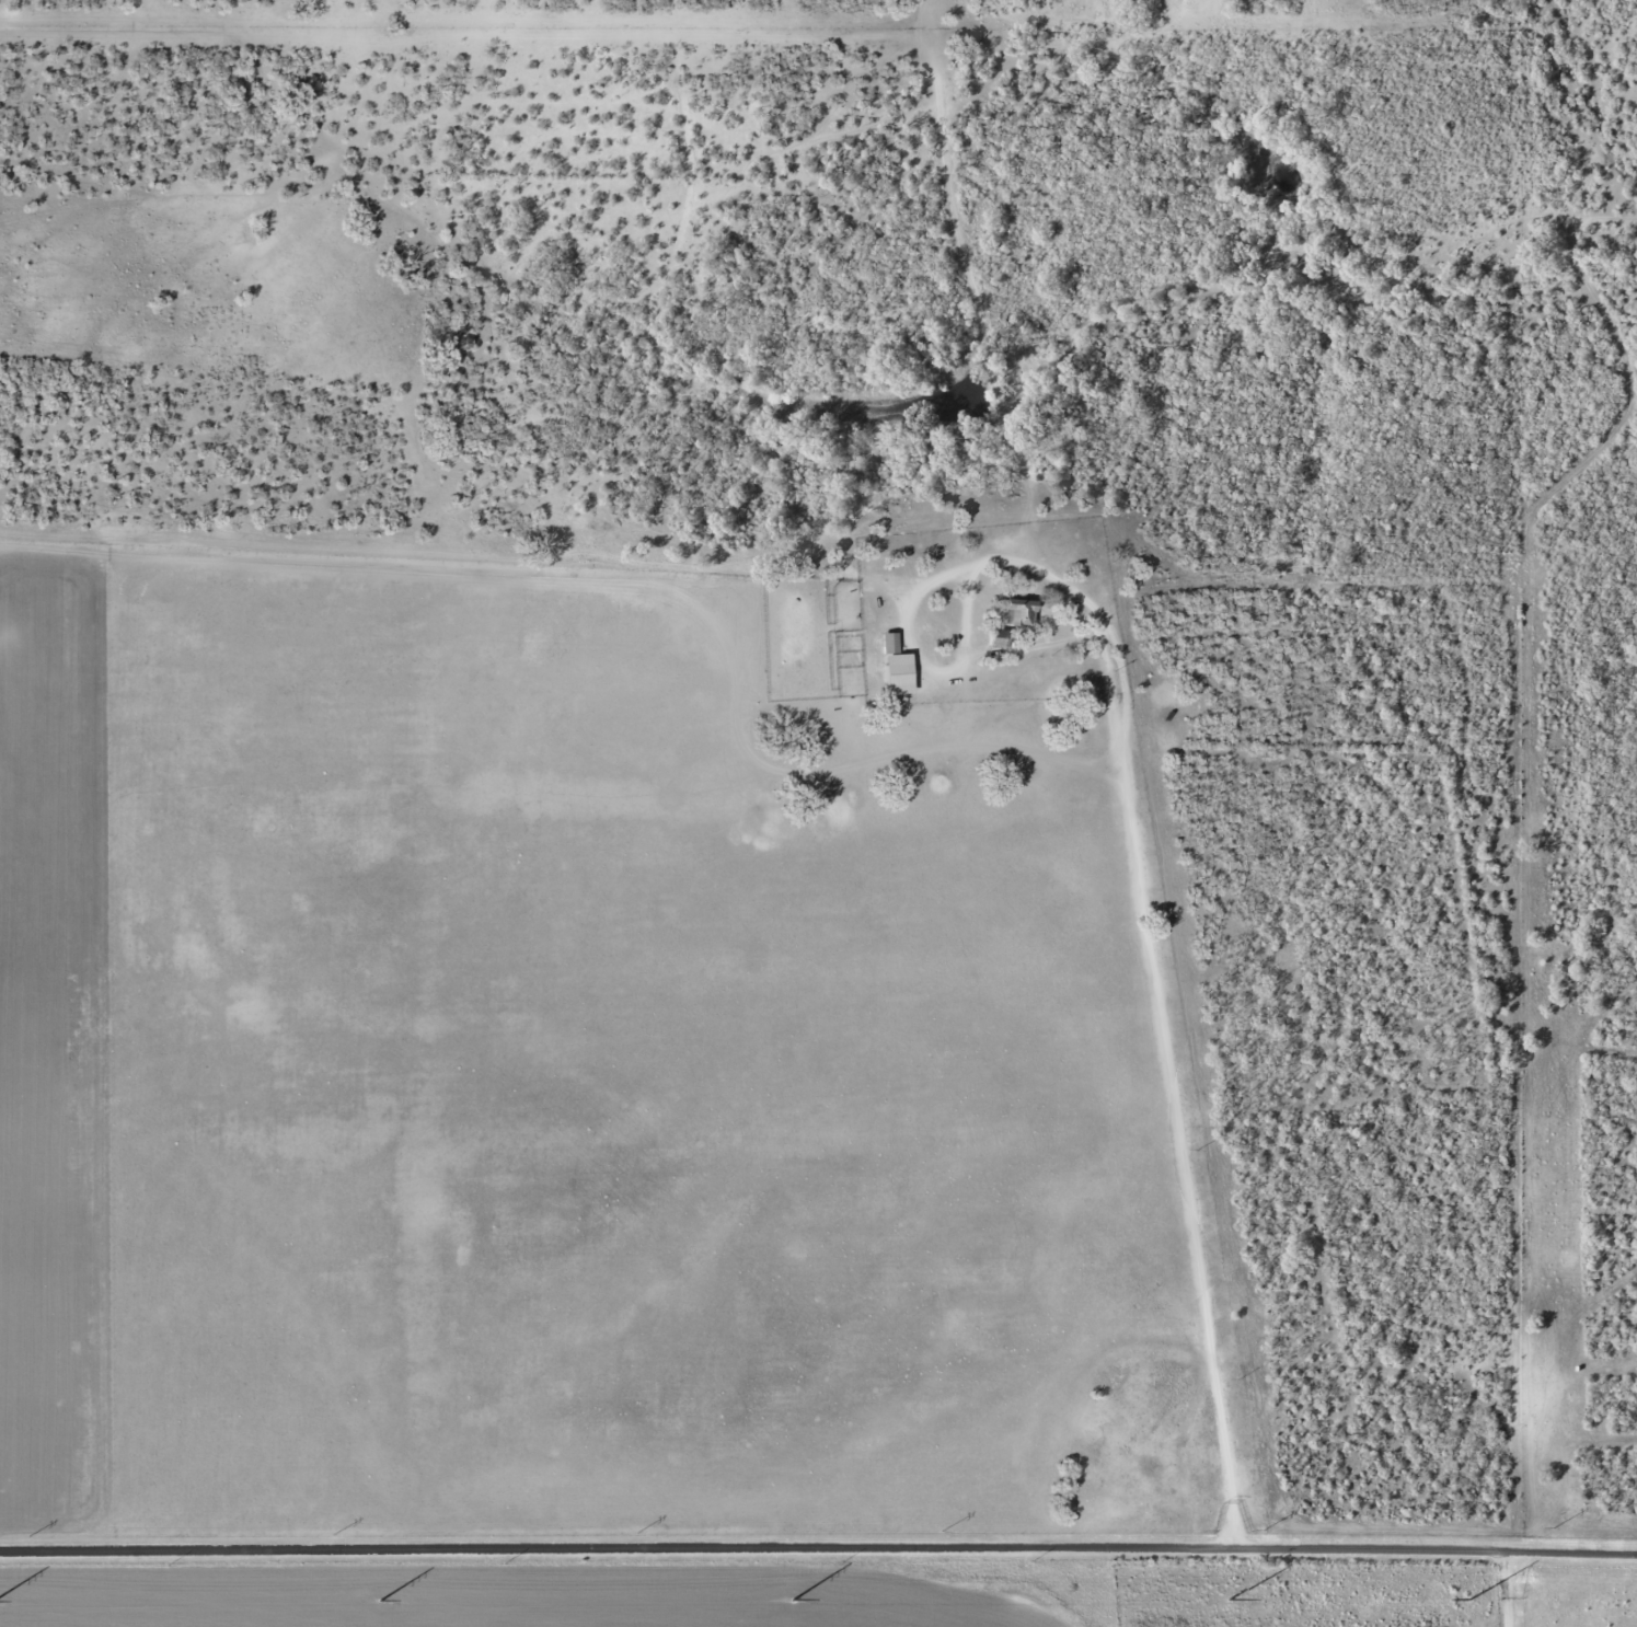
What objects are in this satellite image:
building: (1019, 614)
building: (1007, 639)
building: (890, 644)
road: (1122, 736)
power tower: (1553, 1526)
power tower: (1263, 1528)
power tower: (943, 1531)
power tower: (639, 1532)
power tower: (335, 1535)
power tower: (30, 1537)
road: (818, 1548)
road: (1542, 1589)
power tower: (1472, 1596)
power tower: (379, 1600)
power tower: (792, 1600)
power tower: (1226, 1600)

